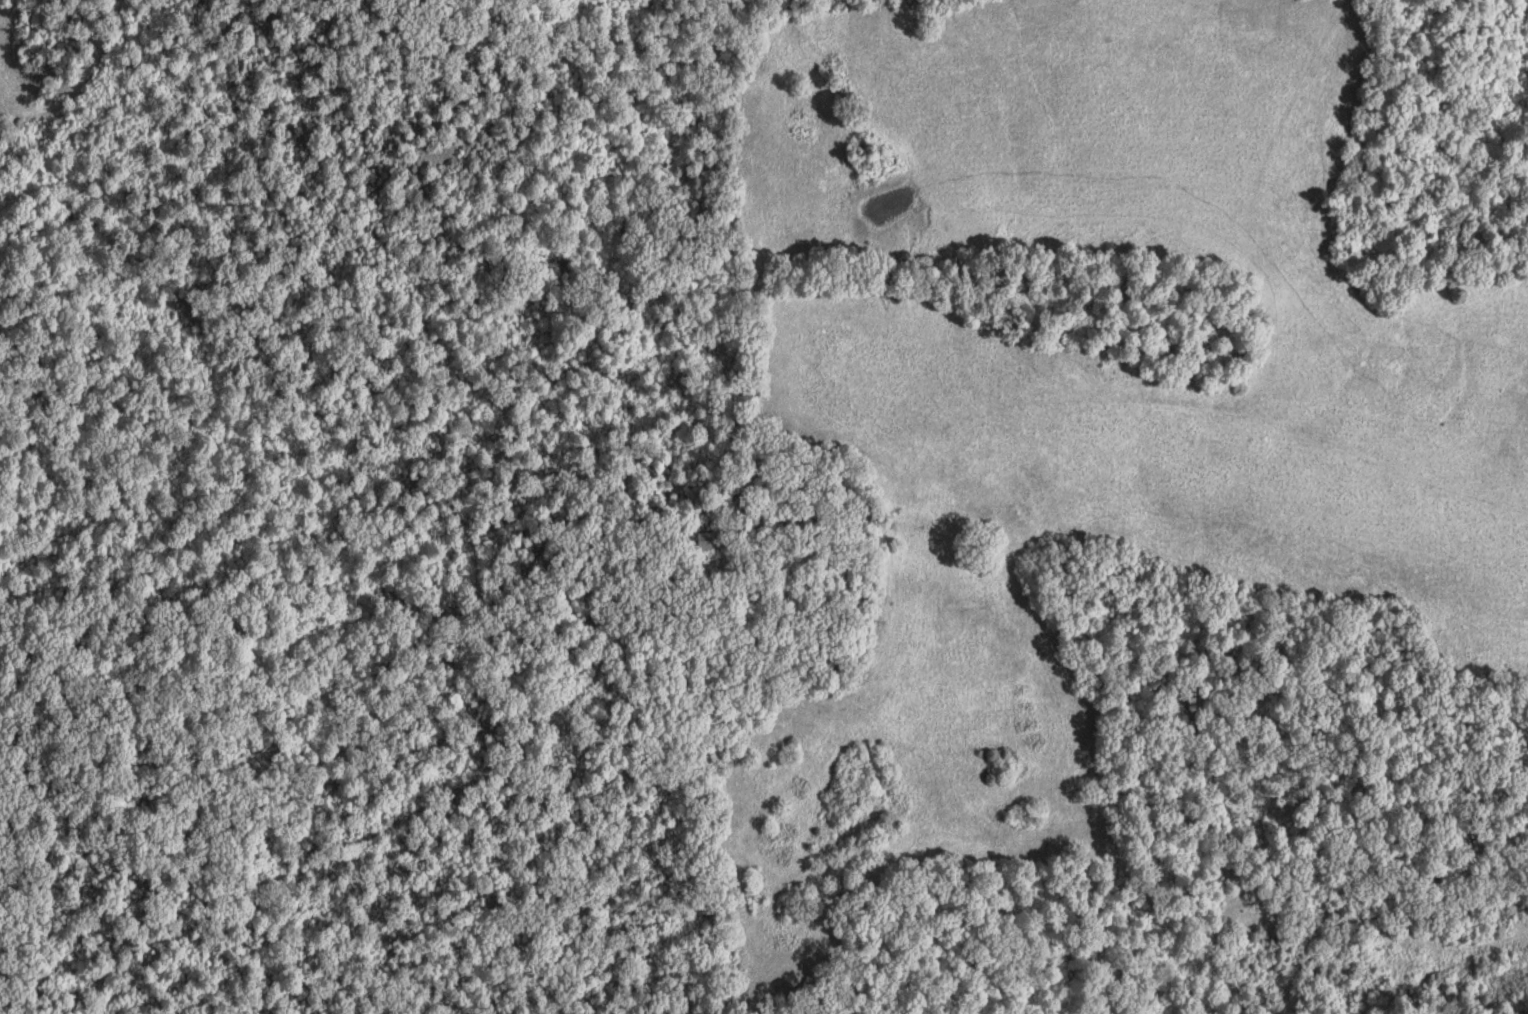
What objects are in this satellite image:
building: (704, 543)

